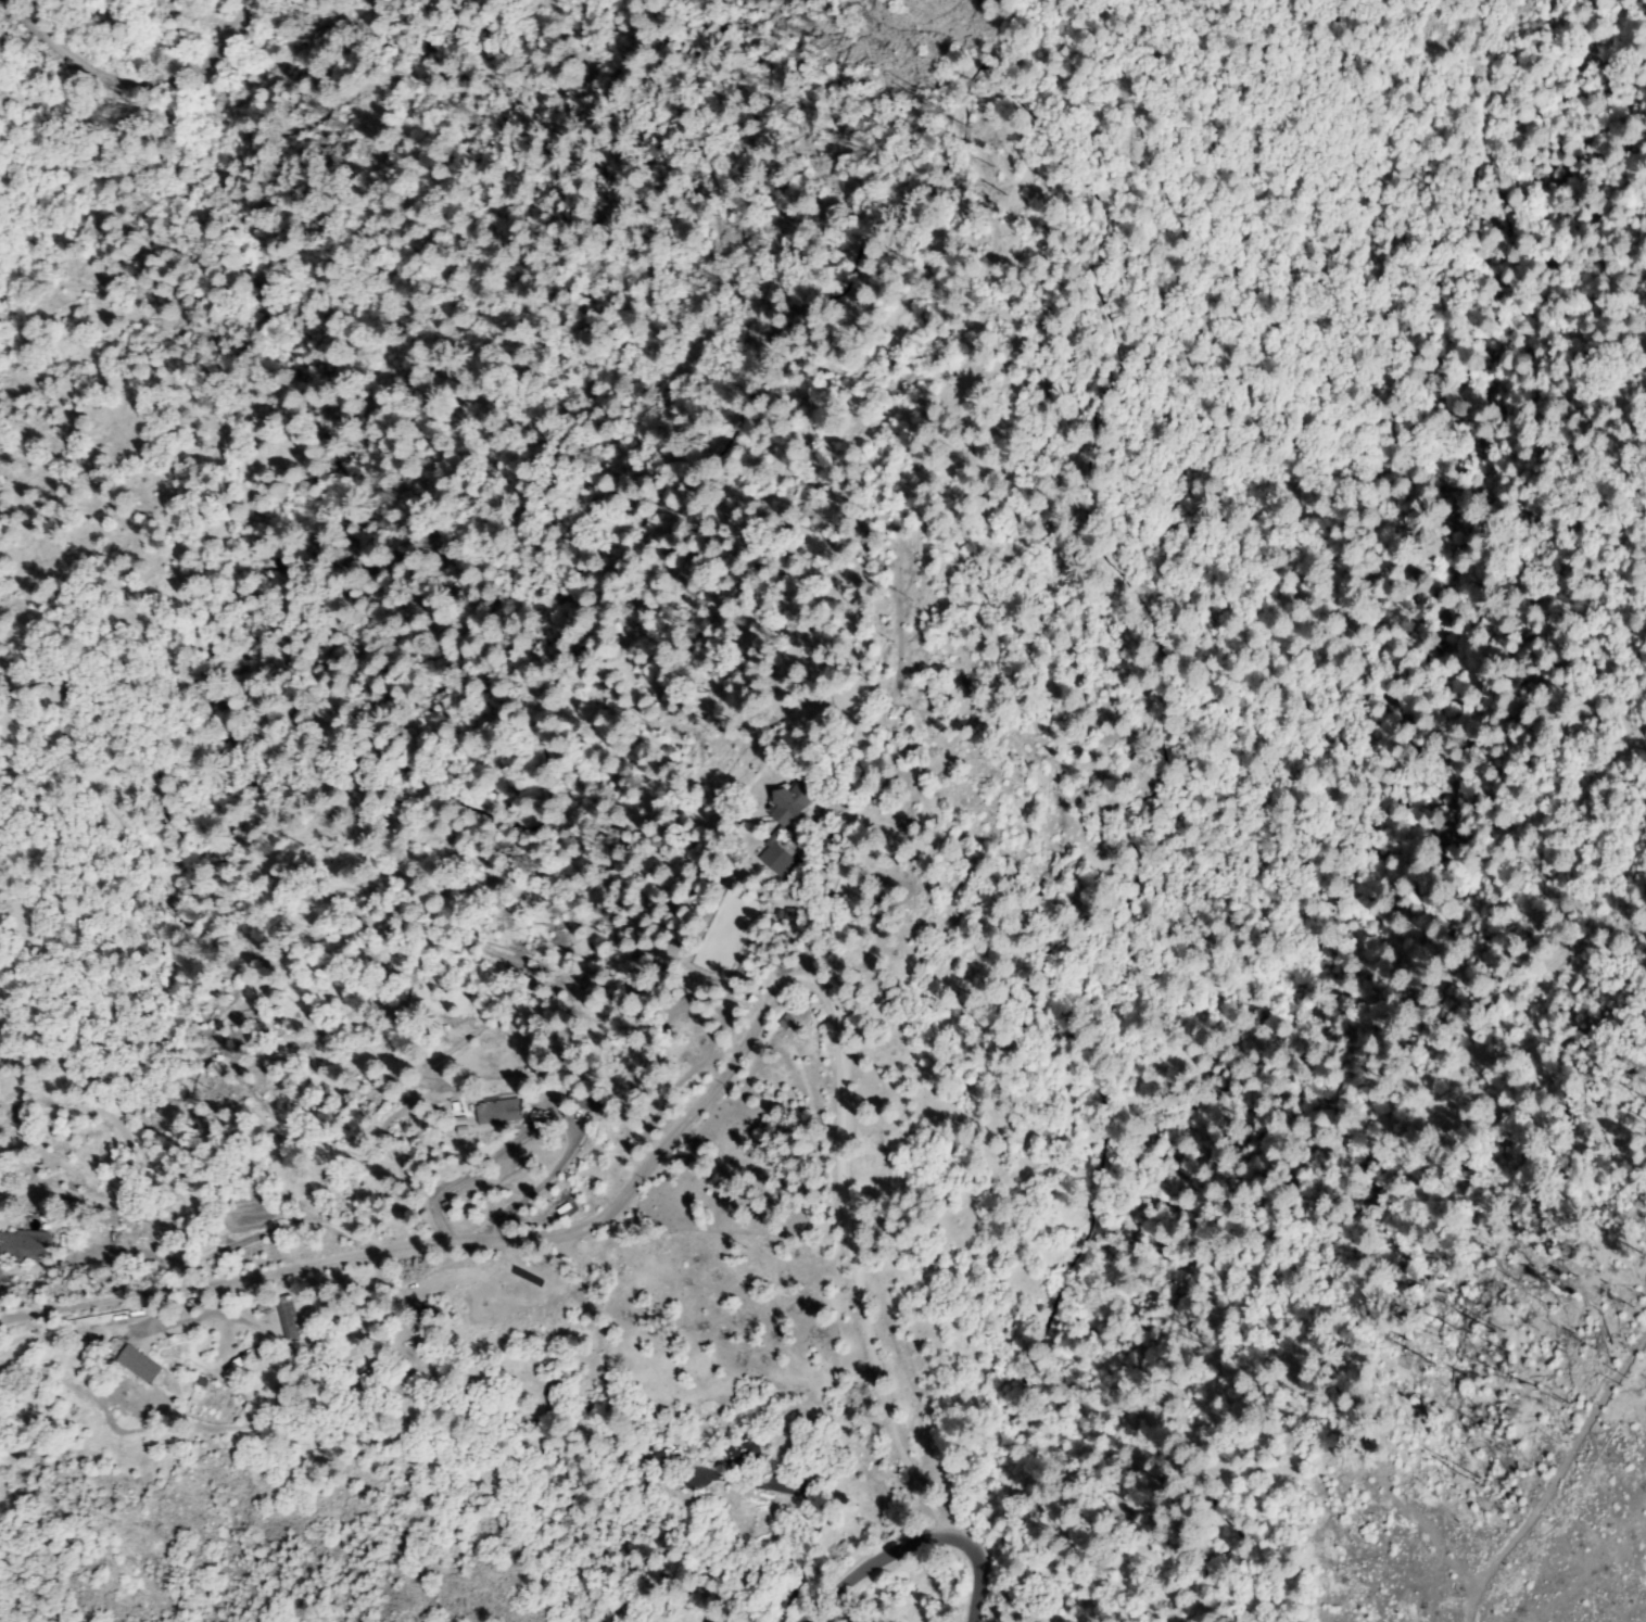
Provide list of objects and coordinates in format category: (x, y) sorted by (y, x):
road: (122, 75)
building: (786, 820)
road: (685, 1098)
building: (586, 1099)
building: (499, 1112)
building: (26, 1246)
road: (87, 1251)
building: (289, 1315)
building: (140, 1364)
building: (370, 1391)
building: (746, 1453)
building: (659, 1459)
road: (922, 1526)
road: (1571, 1554)
road: (991, 1593)

